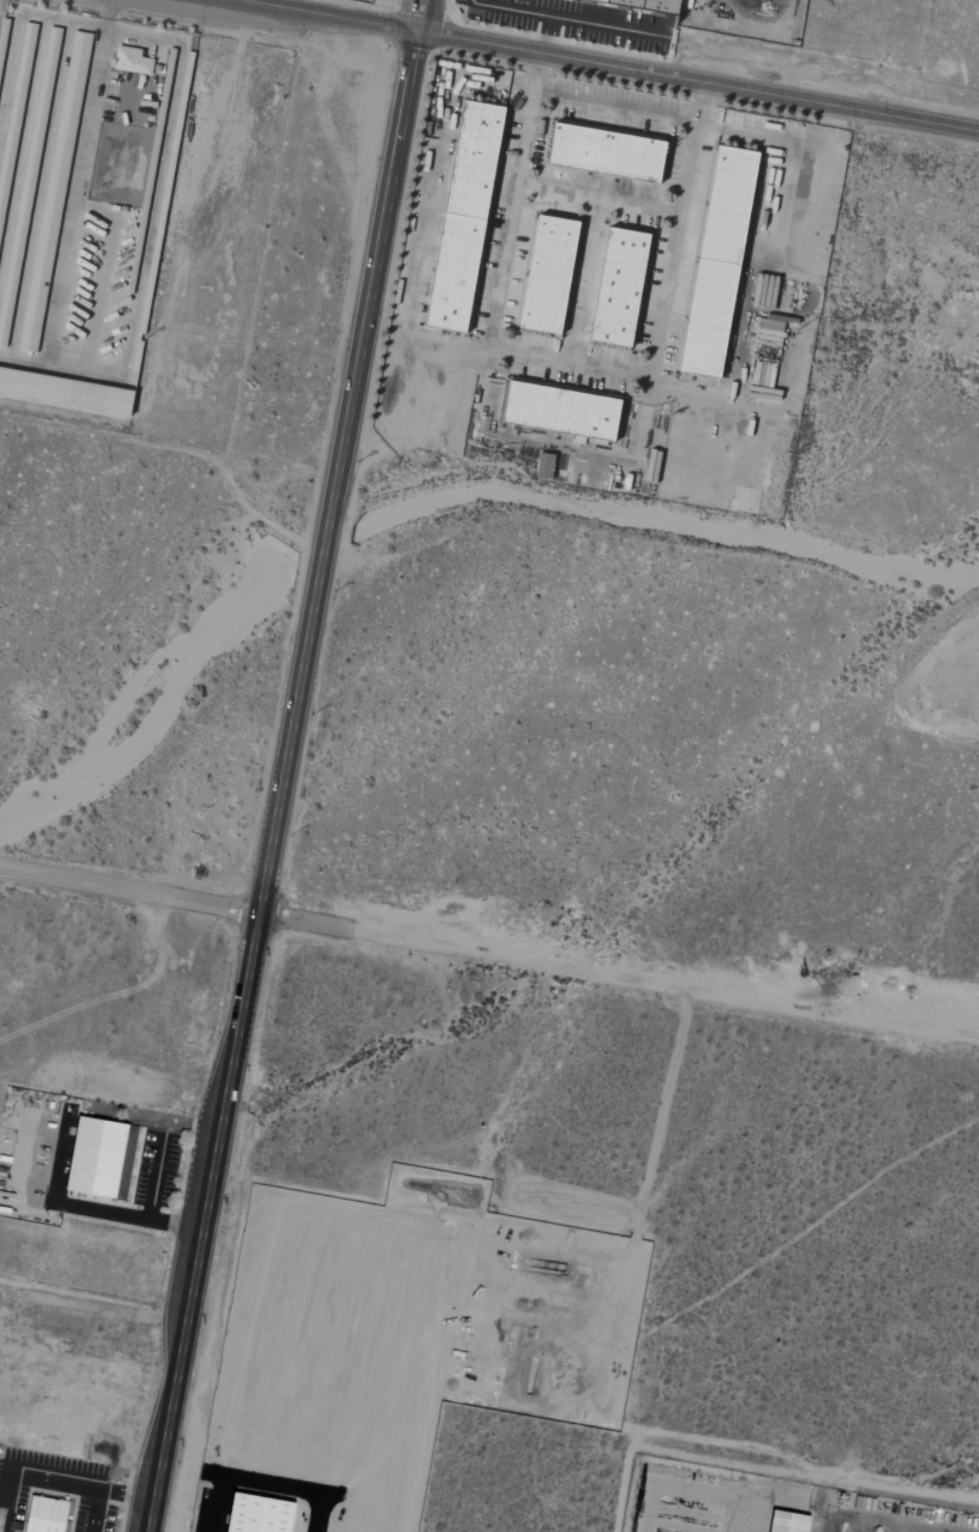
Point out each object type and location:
building: (650, 5)
road: (529, 10)
road: (602, 28)
building: (133, 61)
building: (78, 66)
road: (608, 68)
road: (615, 107)
building: (613, 154)
road: (598, 198)
road: (426, 204)
building: (470, 217)
building: (724, 263)
building: (555, 276)
road: (581, 279)
building: (626, 288)
building: (36, 303)
road: (569, 361)
building: (563, 412)
building: (654, 466)
building: (547, 467)
road: (284, 765)
road: (175, 898)
road: (665, 982)
building: (105, 1157)
road: (156, 1180)
road: (139, 1219)
road: (671, 1483)
road: (786, 1502)
road: (739, 1513)
building: (49, 1515)
road: (876, 1518)
building: (778, 1522)
road: (857, 1523)
road: (899, 1527)
road: (941, 1531)

